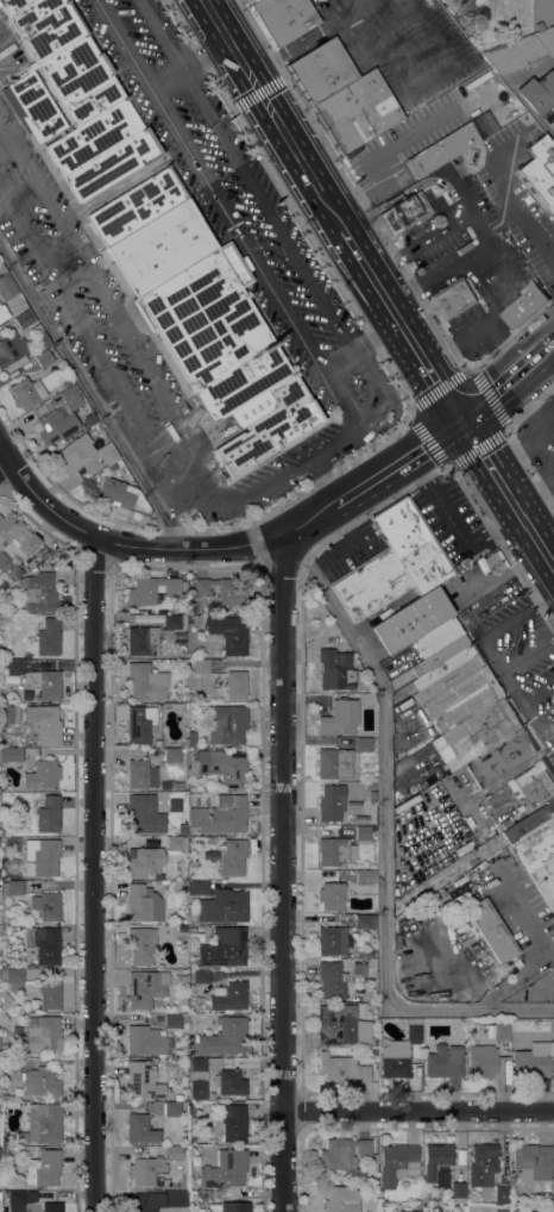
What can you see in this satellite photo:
building: (252, 1)
building: (465, 7)
building: (282, 19)
building: (43, 25)
building: (521, 51)
road: (190, 61)
building: (80, 80)
traffic signals: (260, 92)
building: (537, 92)
building: (341, 96)
building: (33, 106)
road: (273, 115)
building: (94, 136)
building: (440, 150)
building: (114, 163)
building: (540, 170)
road: (215, 183)
road: (394, 198)
building: (138, 205)
building: (403, 211)
road: (269, 215)
road: (364, 218)
road: (457, 223)
road: (528, 224)
building: (160, 248)
road: (361, 264)
building: (1, 268)
road: (499, 270)
building: (6, 287)
building: (452, 298)
building: (523, 307)
building: (2, 312)
building: (24, 319)
road: (403, 330)
building: (215, 336)
building: (42, 338)
road: (364, 344)
building: (11, 349)
road: (544, 352)
building: (44, 358)
building: (67, 383)
building: (27, 392)
road: (92, 392)
road: (498, 392)
road: (442, 394)
building: (70, 398)
road: (530, 410)
building: (88, 419)
traffic signals: (460, 423)
building: (56, 424)
road: (501, 426)
road: (435, 439)
building: (74, 452)
building: (108, 455)
road: (5, 461)
road: (295, 466)
road: (323, 480)
road: (499, 492)
building: (115, 493)
road: (453, 524)
building: (17, 533)
building: (413, 544)
road: (196, 549)
road: (338, 552)
building: (45, 555)
building: (493, 563)
building: (43, 564)
road: (548, 569)
building: (10, 570)
building: (370, 583)
building: (152, 589)
building: (224, 589)
building: (40, 593)
building: (8, 607)
building: (411, 619)
building: (10, 621)
building: (171, 621)
building: (228, 633)
building: (435, 636)
building: (48, 637)
building: (14, 639)
building: (143, 641)
road: (491, 650)
building: (439, 655)
building: (14, 666)
building: (443, 666)
building: (201, 667)
building: (335, 669)
building: (446, 679)
building: (146, 681)
building: (46, 683)
building: (235, 685)
building: (462, 699)
building: (120, 712)
building: (8, 713)
building: (339, 717)
building: (44, 723)
building: (140, 723)
building: (227, 724)
building: (477, 730)
building: (191, 738)
building: (157, 743)
building: (363, 744)
road: (550, 744)
building: (171, 752)
building: (11, 754)
building: (501, 756)
building: (334, 763)
building: (219, 764)
building: (42, 774)
building: (140, 774)
building: (534, 786)
building: (372, 795)
building: (330, 802)
building: (174, 805)
building: (46, 813)
building: (140, 813)
building: (222, 814)
building: (529, 820)
building: (182, 829)
building: (363, 833)
road: (386, 839)
building: (175, 845)
building: (334, 851)
building: (43, 856)
building: (231, 857)
building: (539, 857)
building: (145, 862)
building: (479, 867)
road: (95, 875)
road: (283, 875)
building: (365, 877)
building: (12, 887)
building: (201, 887)
building: (332, 895)
building: (143, 904)
building: (46, 905)
building: (228, 905)
building: (365, 922)
building: (191, 929)
building: (489, 930)
building: (333, 941)
building: (43, 943)
building: (141, 945)
building: (225, 948)
building: (359, 954)
building: (358, 968)
building: (201, 976)
building: (13, 979)
building: (332, 980)
building: (145, 988)
building: (49, 994)
building: (229, 995)
building: (172, 1020)
building: (336, 1024)
building: (502, 1030)
building: (40, 1035)
building: (225, 1036)
building: (145, 1041)
building: (373, 1043)
building: (373, 1051)
building: (398, 1051)
building: (14, 1055)
building: (483, 1061)
building: (443, 1062)
building: (531, 1063)
building: (11, 1064)
building: (342, 1069)
building: (196, 1076)
building: (143, 1080)
building: (42, 1082)
building: (170, 1097)
building: (178, 1097)
building: (172, 1108)
building: (190, 1111)
road: (420, 1111)
building: (44, 1123)
building: (233, 1123)
building: (140, 1129)
building: (174, 1152)
building: (344, 1156)
building: (396, 1162)
building: (533, 1162)
building: (439, 1164)
building: (481, 1164)
building: (43, 1168)
building: (146, 1169)
building: (225, 1169)
building: (458, 1189)
building: (502, 1194)
building: (199, 1197)
building: (20, 1199)
building: (340, 1199)
building: (147, 1201)
building: (51, 1207)
building: (234, 1207)
building: (4, 1208)
building: (409, 1211)
building: (502, 1211)

